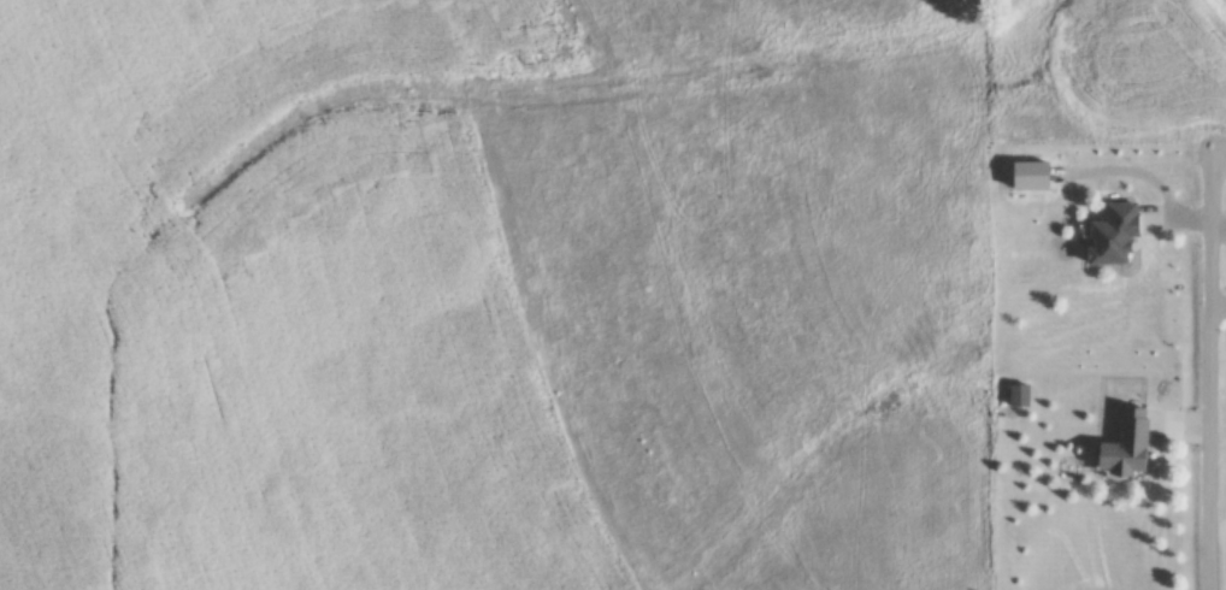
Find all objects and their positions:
building: (1121, 234)
road: (1212, 401)
building: (1134, 444)

